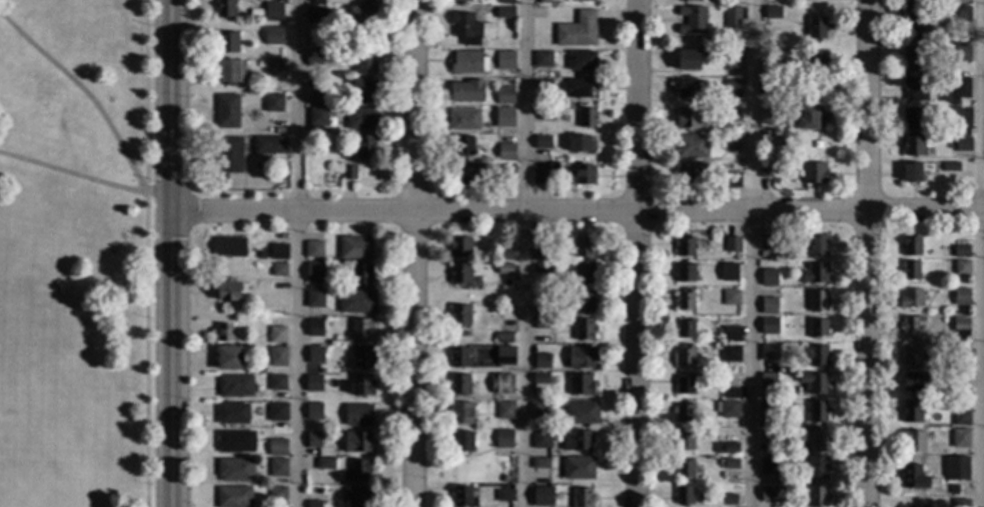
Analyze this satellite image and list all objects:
building: (366, 0)
building: (689, 0)
building: (958, 0)
building: (461, 1)
building: (583, 1)
building: (317, 2)
building: (507, 2)
building: (546, 2)
building: (225, 8)
building: (273, 12)
building: (330, 13)
building: (505, 13)
building: (773, 13)
building: (315, 15)
building: (962, 15)
building: (363, 16)
building: (732, 17)
building: (692, 21)
building: (914, 23)
building: (469, 28)
building: (817, 28)
building: (577, 31)
building: (270, 32)
building: (228, 43)
building: (961, 54)
building: (917, 58)
building: (314, 59)
building: (542, 59)
building: (582, 60)
building: (816, 60)
building: (505, 61)
building: (733, 61)
building: (689, 62)
building: (364, 63)
building: (469, 63)
building: (261, 64)
building: (769, 67)
building: (275, 68)
building: (230, 72)
building: (543, 85)
building: (581, 88)
building: (732, 88)
building: (769, 88)
building: (961, 88)
building: (686, 89)
building: (916, 89)
building: (364, 91)
building: (467, 91)
building: (504, 96)
building: (318, 98)
building: (556, 100)
building: (787, 100)
building: (534, 102)
building: (273, 104)
building: (227, 111)
building: (944, 112)
building: (546, 114)
building: (733, 115)
building: (768, 115)
building: (318, 116)
building: (505, 118)
building: (586, 118)
building: (689, 118)
building: (913, 118)
building: (960, 118)
building: (362, 119)
building: (812, 119)
building: (465, 120)
building: (282, 123)
building: (543, 142)
building: (730, 142)
building: (581, 144)
building: (960, 144)
building: (780, 145)
building: (267, 146)
building: (462, 146)
building: (692, 146)
building: (914, 147)
building: (365, 148)
building: (793, 151)
building: (506, 152)
building: (229, 155)
road: (127, 158)
building: (951, 167)
building: (764, 170)
building: (349, 173)
building: (506, 173)
building: (690, 173)
building: (814, 173)
building: (912, 173)
building: (467, 174)
building: (541, 176)
building: (583, 176)
building: (729, 180)
road: (159, 192)
road: (578, 212)
building: (767, 243)
building: (732, 244)
building: (818, 245)
building: (230, 247)
building: (583, 247)
building: (686, 247)
building: (912, 247)
building: (355, 248)
building: (460, 248)
building: (314, 250)
building: (279, 252)
building: (962, 252)
park: (75, 253)
road: (173, 253)
road: (297, 253)
road: (416, 253)
road: (526, 253)
building: (543, 253)
road: (637, 253)
road: (750, 253)
road: (870, 253)
road: (979, 253)
building: (505, 254)
building: (763, 255)
building: (261, 256)
building: (543, 268)
building: (962, 268)
building: (505, 269)
building: (279, 270)
building: (912, 271)
building: (685, 272)
building: (729, 272)
building: (315, 273)
building: (584, 273)
building: (362, 274)
building: (460, 274)
building: (815, 274)
building: (769, 277)
building: (228, 290)
building: (962, 297)
building: (731, 298)
building: (911, 298)
building: (314, 300)
building: (685, 300)
building: (818, 300)
building: (584, 301)
building: (357, 302)
park: (31, 306)
building: (769, 306)
building: (543, 309)
building: (460, 315)
building: (543, 323)
building: (769, 326)
building: (912, 326)
building: (315, 328)
building: (361, 329)
building: (585, 329)
building: (685, 329)
building: (818, 329)
building: (961, 330)
building: (225, 334)
building: (731, 335)
building: (277, 338)
building: (504, 338)
building: (315, 353)
building: (769, 353)
building: (962, 353)
building: (730, 354)
building: (505, 356)
building: (685, 356)
building: (818, 356)
building: (912, 356)
building: (277, 357)
building: (229, 358)
building: (364, 358)
building: (459, 358)
building: (581, 358)
building: (542, 361)
building: (541, 379)
building: (277, 382)
building: (768, 382)
building: (915, 382)
building: (314, 383)
building: (814, 383)
building: (501, 384)
building: (461, 385)
building: (581, 385)
building: (685, 385)
building: (236, 386)
building: (363, 386)
building: (730, 393)
building: (950, 395)
building: (728, 409)
building: (541, 410)
building: (767, 410)
building: (505, 411)
building: (277, 412)
building: (314, 412)
building: (818, 412)
building: (912, 412)
building: (461, 413)
building: (581, 413)
building: (233, 414)
building: (683, 414)
building: (358, 415)
building: (962, 418)
building: (539, 426)
building: (768, 435)
building: (961, 439)
building: (314, 440)
building: (504, 440)
building: (542, 440)
building: (577, 440)
building: (685, 440)
building: (818, 440)
building: (914, 441)
building: (235, 442)
building: (462, 442)
building: (357, 443)
building: (277, 445)
building: (727, 449)
park: (44, 454)
building: (949, 460)
building: (540, 463)
building: (325, 464)
building: (731, 464)
building: (960, 465)
building: (769, 466)
building: (278, 468)
building: (818, 468)
building: (578, 469)
building: (685, 469)
building: (235, 470)
building: (360, 470)
building: (915, 478)
building: (503, 479)
building: (277, 494)
building: (771, 494)
building: (684, 495)
building: (505, 496)
building: (817, 496)
building: (234, 497)
building: (360, 497)
building: (462, 497)
building: (543, 497)
building: (583, 498)
building: (729, 500)
building: (960, 503)
building: (314, 504)
building: (913, 506)

